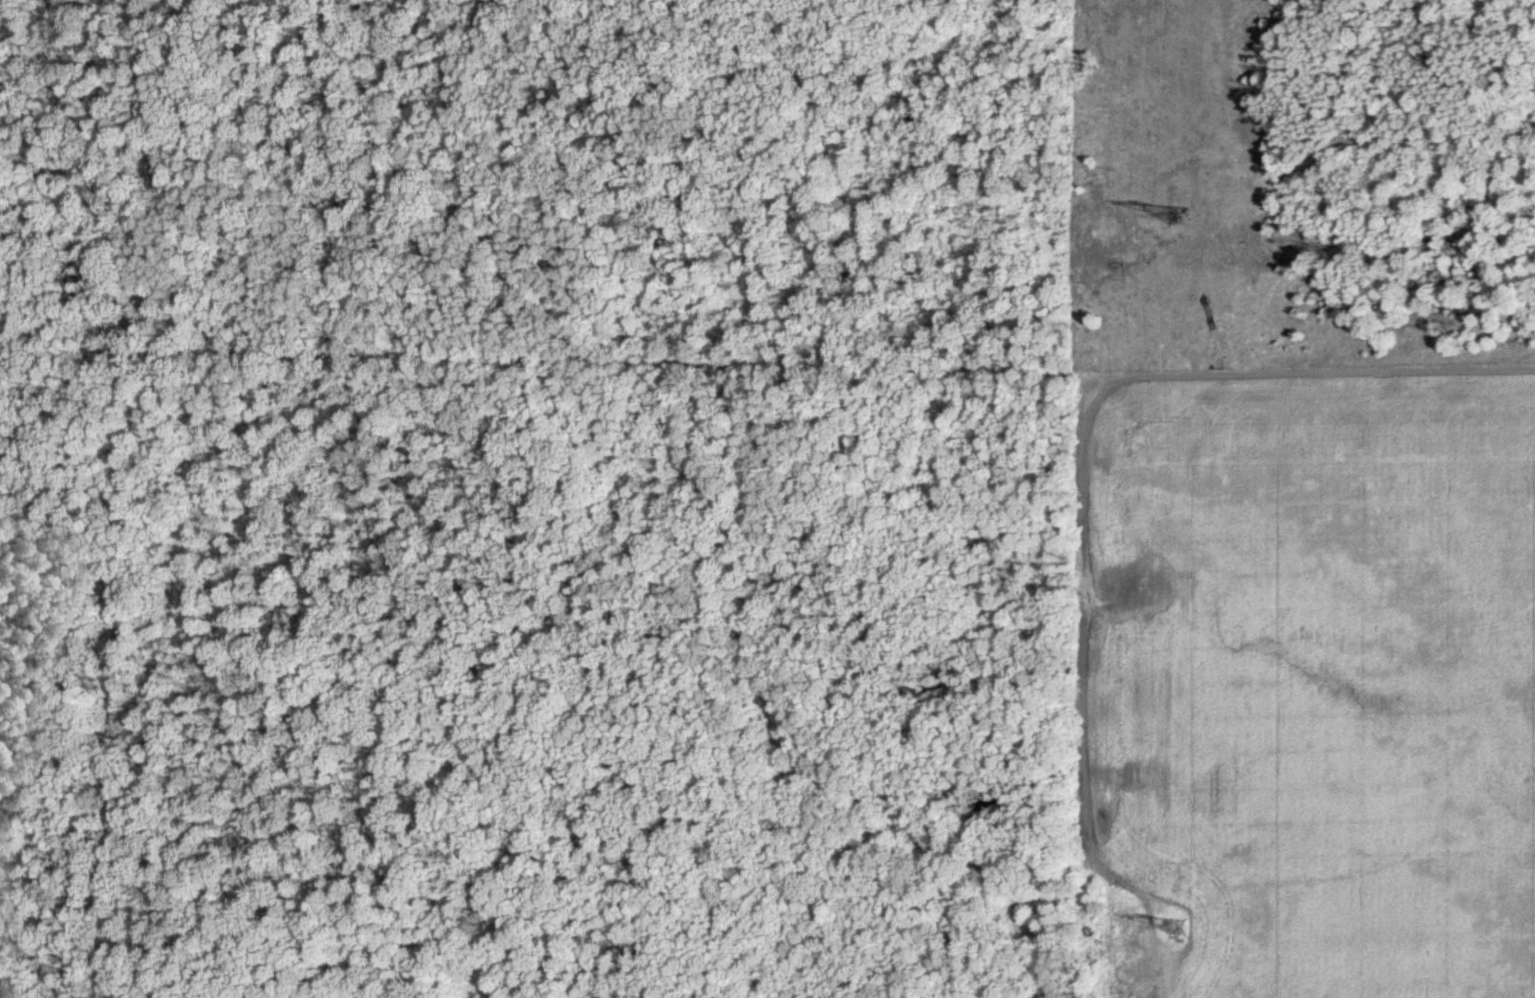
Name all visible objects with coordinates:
power tower: (1179, 216)
power tower: (1179, 927)

